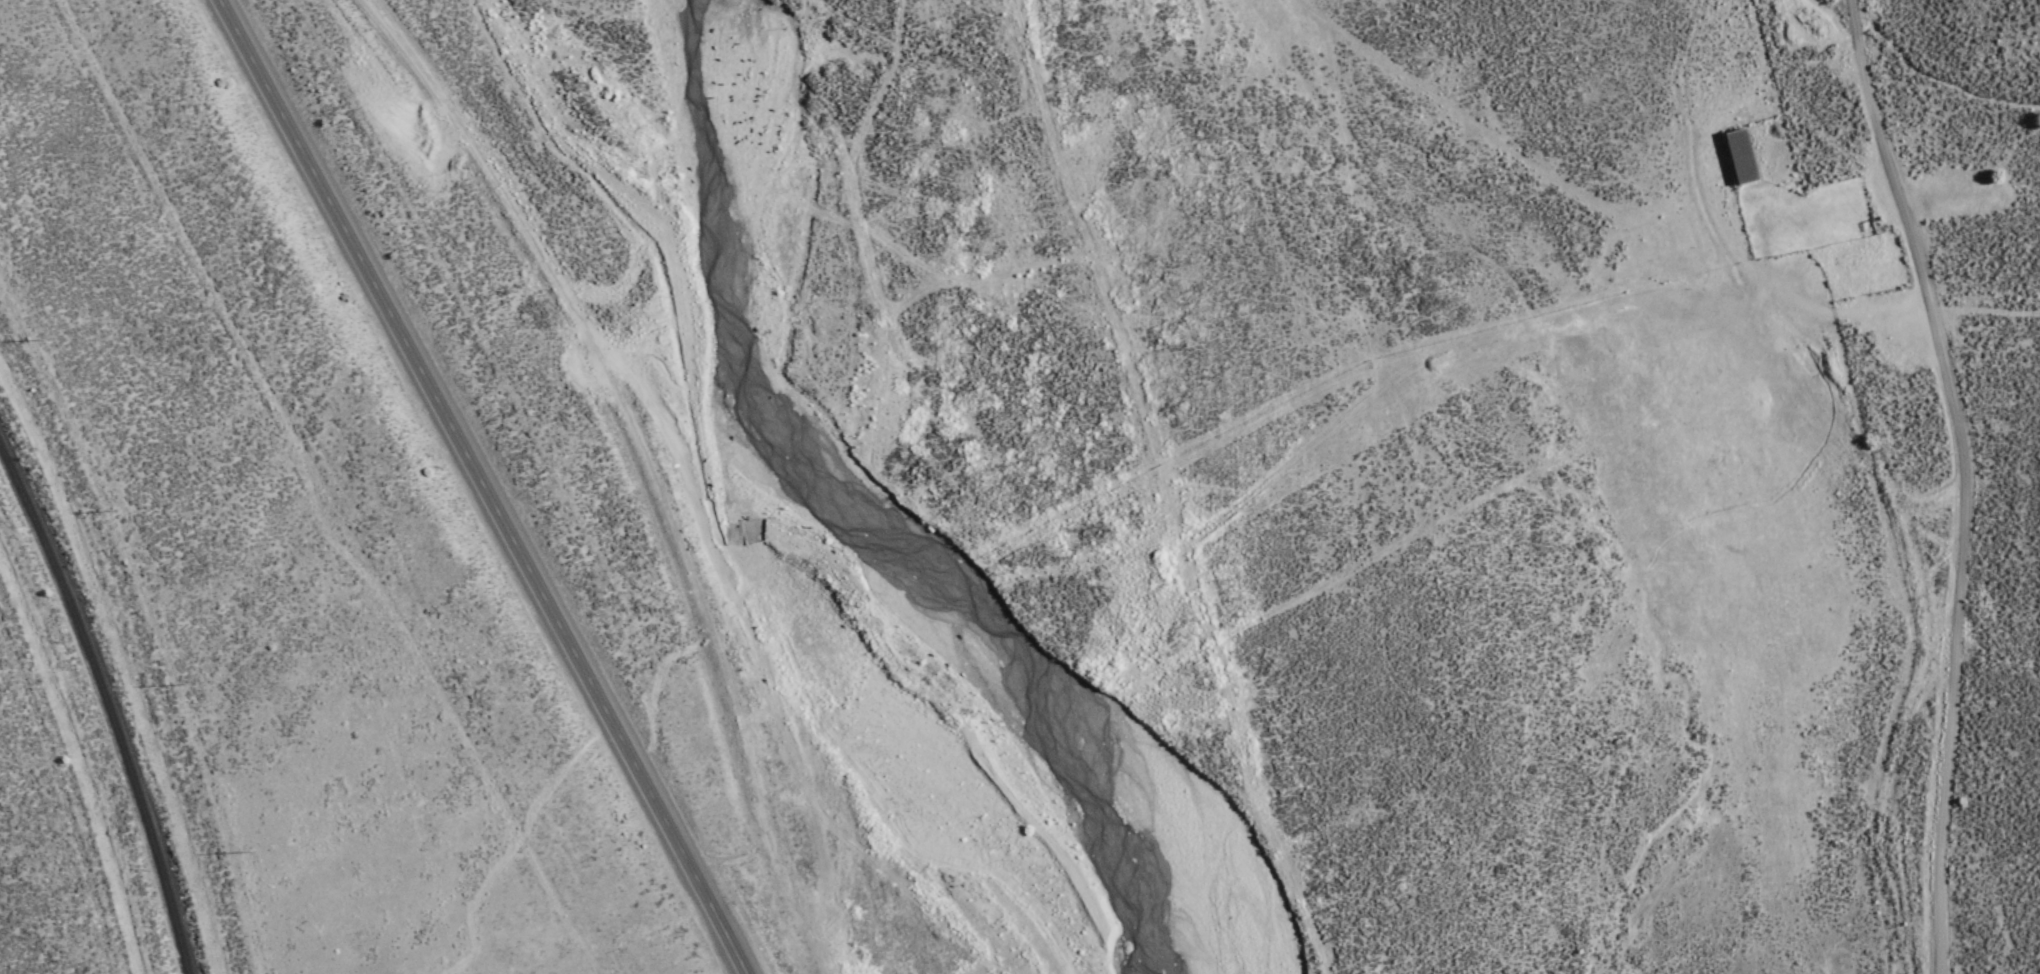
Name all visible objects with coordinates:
road: (1989, 308)
road: (1970, 480)
road: (480, 486)
railway: (105, 706)

